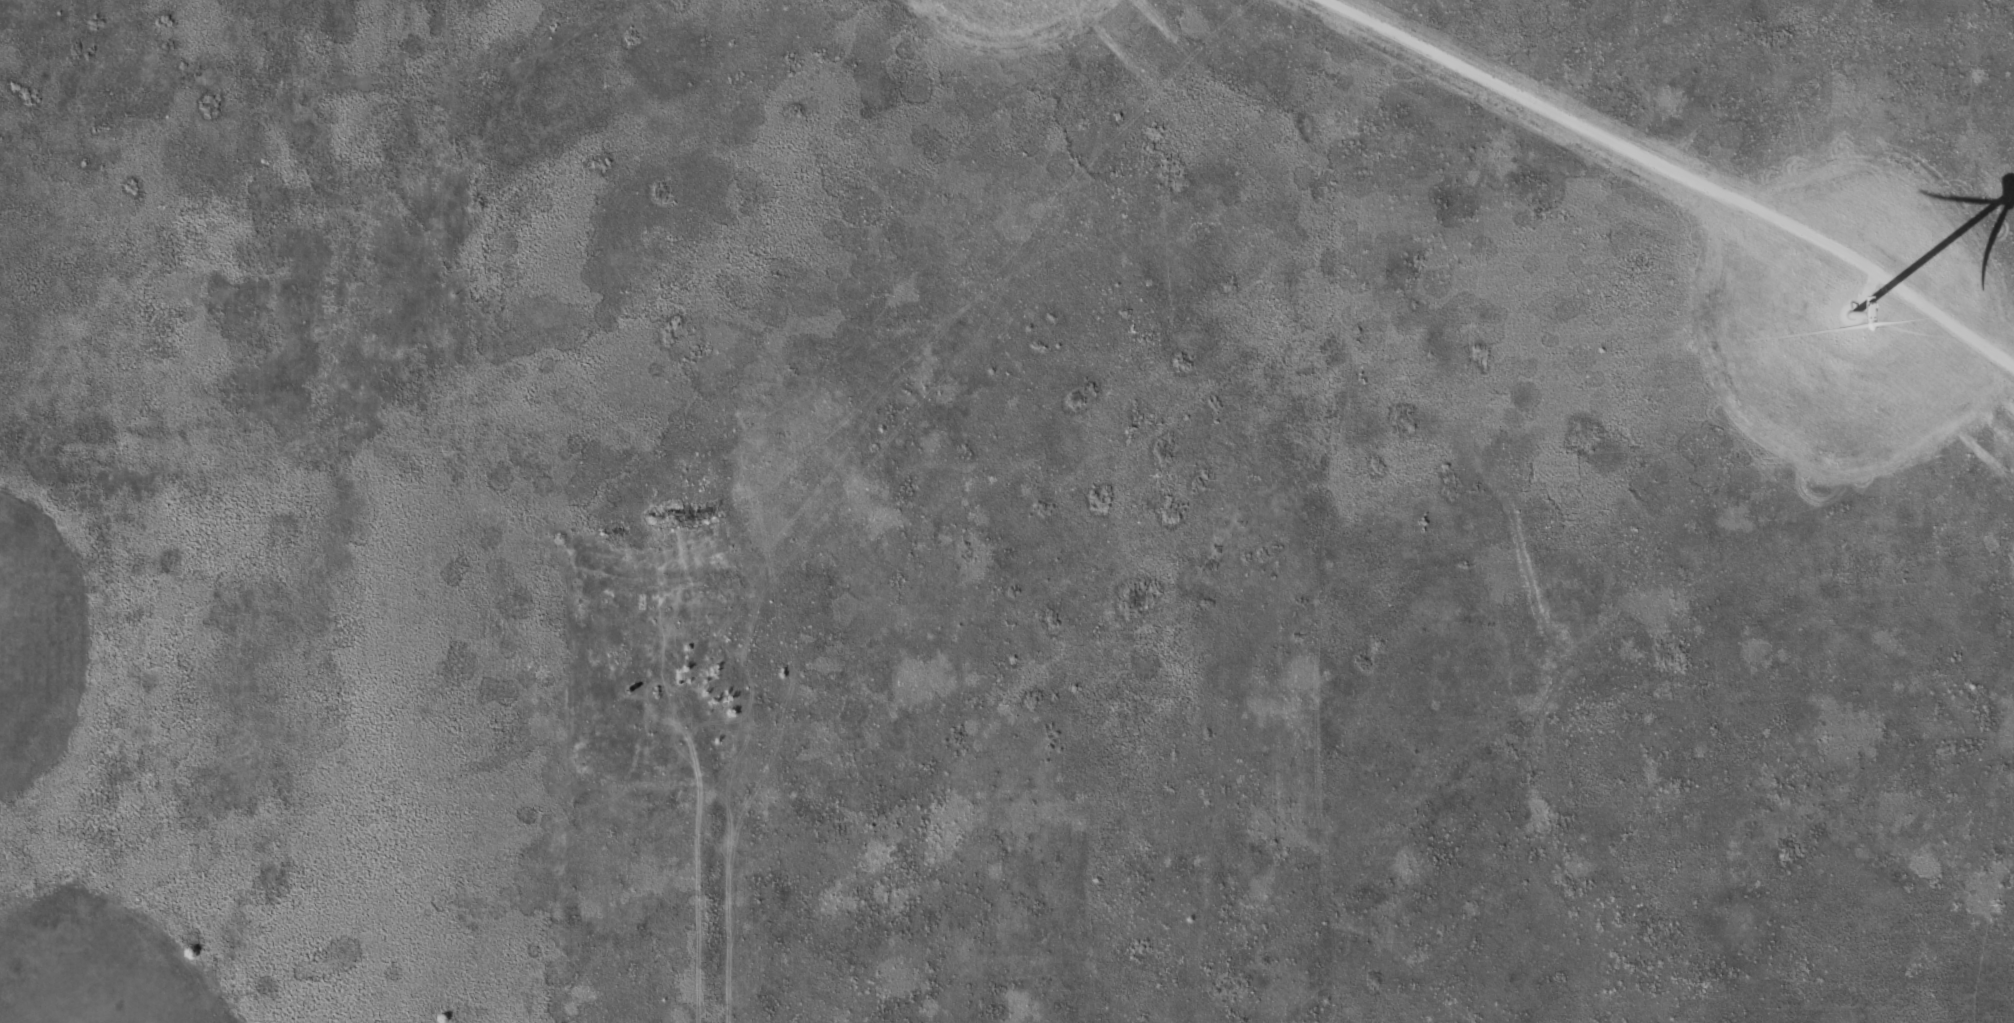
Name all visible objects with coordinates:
wind turbine: (1849, 310)

